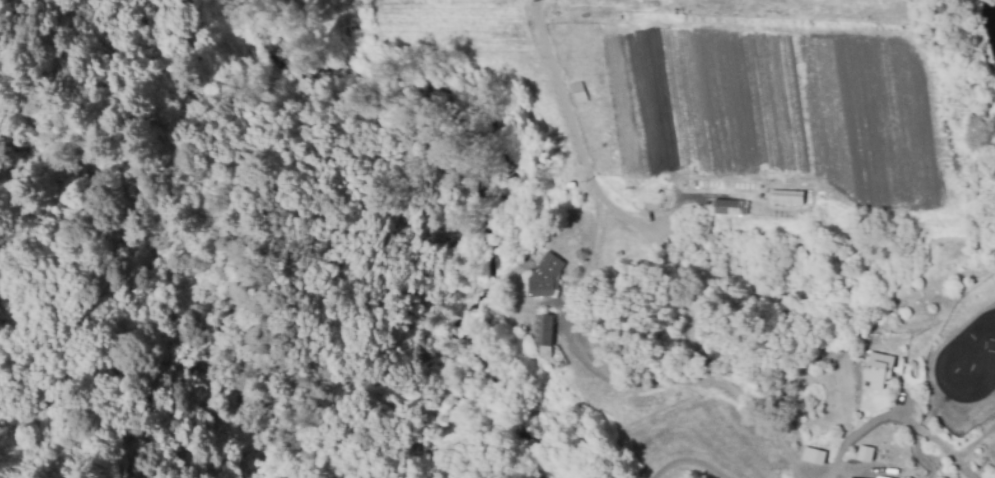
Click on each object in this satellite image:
crop: (666, 83)
crop: (867, 91)
building: (578, 92)
building: (729, 207)
building: (542, 276)
building: (541, 335)
building: (877, 371)
road: (900, 422)
building: (864, 454)
building: (812, 456)
road: (688, 464)

